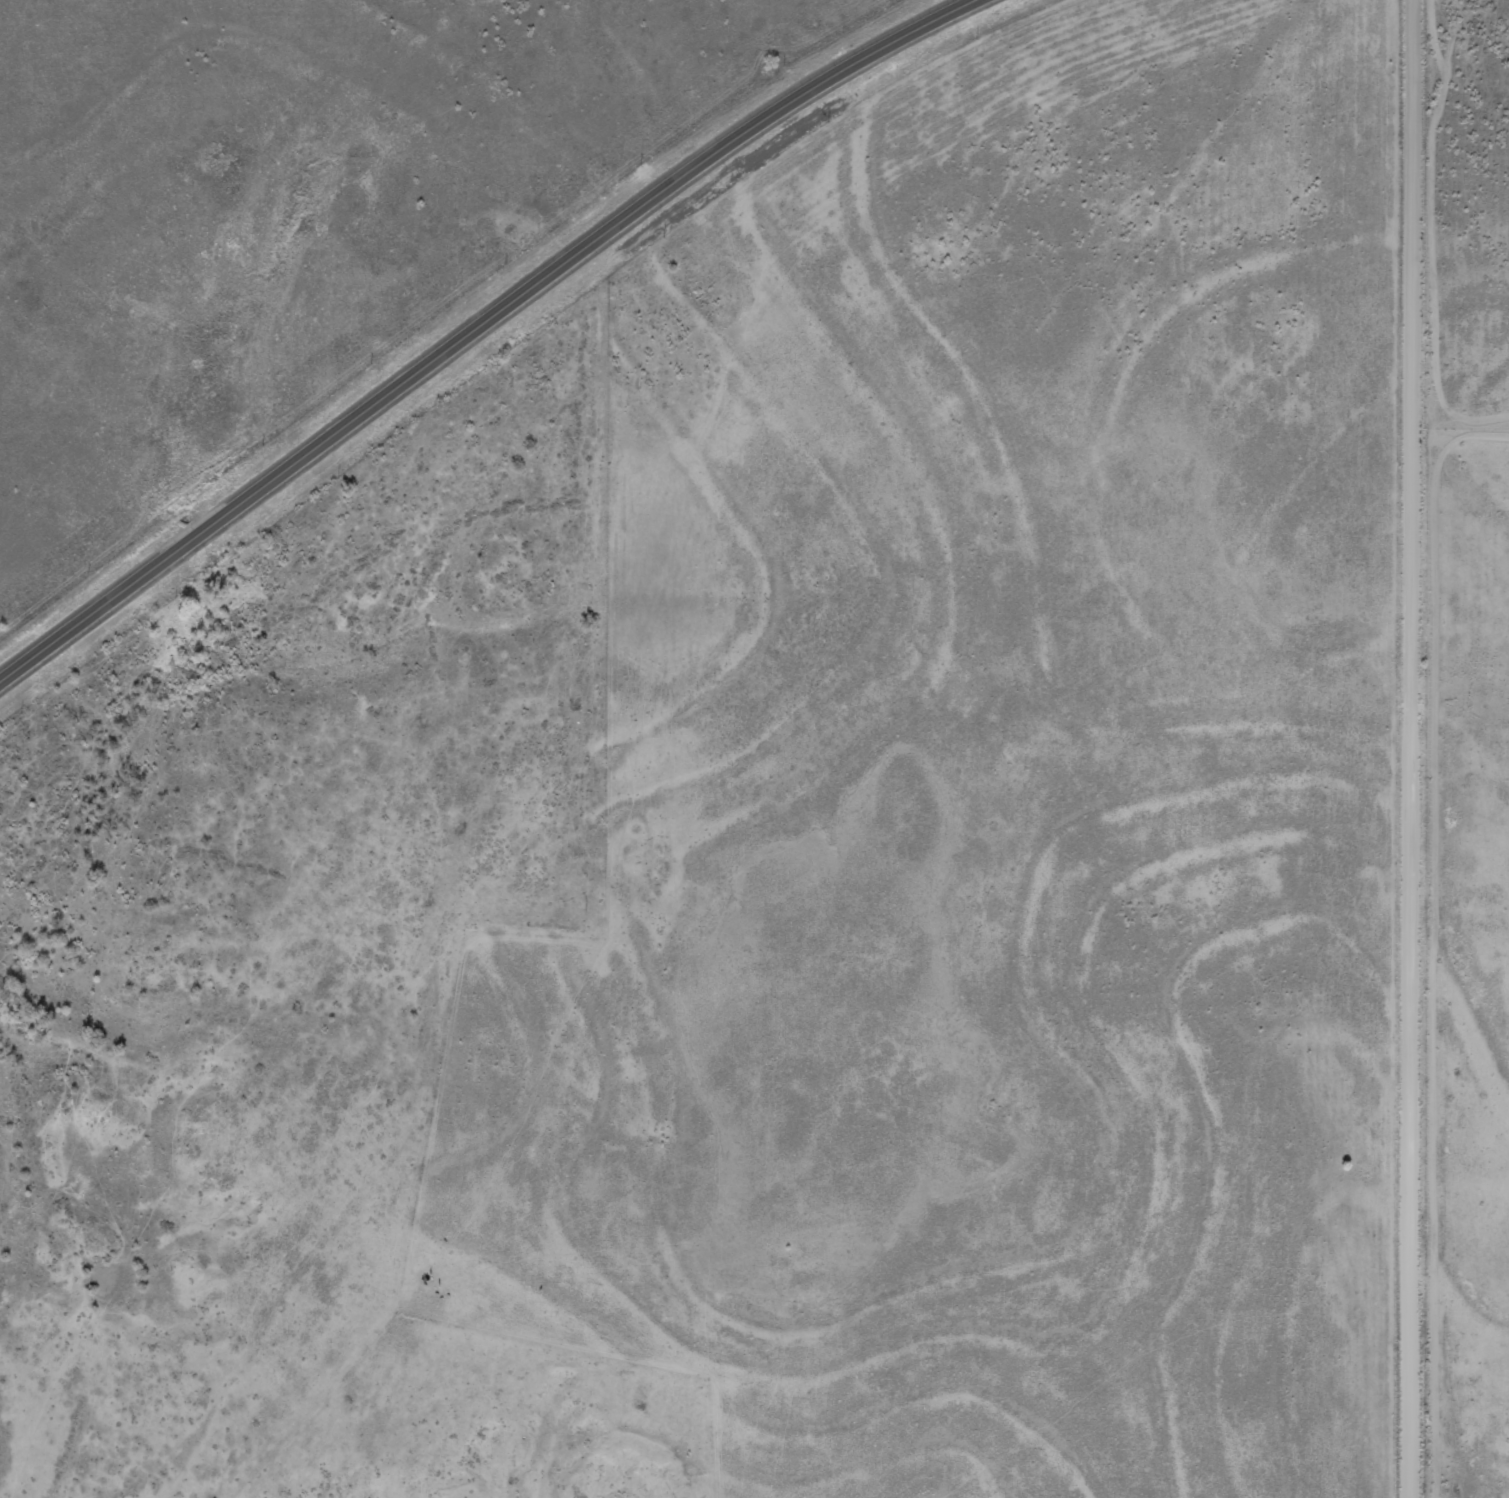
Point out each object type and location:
road: (481, 326)
road: (1413, 748)

